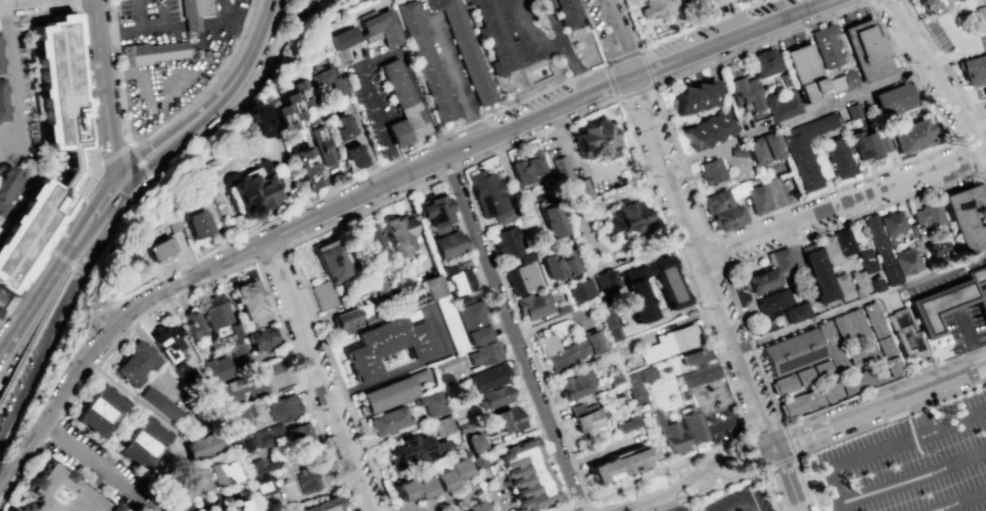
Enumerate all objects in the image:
building: (740, 0)
road: (866, 0)
building: (946, 0)
road: (4, 1)
road: (14, 1)
building: (303, 3)
road: (76, 4)
building: (708, 5)
building: (928, 6)
building: (661, 8)
road: (38, 12)
building: (194, 13)
building: (568, 14)
building: (979, 14)
road: (142, 16)
road: (876, 18)
road: (237, 20)
parking lot: (148, 21)
parking lot: (218, 28)
parking lot: (530, 28)
building: (365, 30)
road: (591, 32)
road: (139, 33)
road: (677, 34)
parking lot: (957, 34)
building: (494, 36)
road: (528, 38)
building: (828, 46)
building: (465, 48)
road: (563, 48)
road: (966, 49)
building: (866, 50)
building: (155, 52)
road: (379, 59)
building: (425, 60)
building: (764, 63)
road: (946, 63)
building: (972, 69)
road: (238, 73)
building: (805, 74)
road: (148, 75)
road: (935, 76)
road: (14, 78)
road: (457, 80)
building: (320, 81)
building: (842, 82)
road: (652, 84)
road: (104, 87)
parking lot: (164, 88)
building: (744, 92)
parking lot: (369, 95)
building: (695, 97)
building: (2, 100)
building: (891, 100)
road: (236, 101)
building: (282, 104)
building: (400, 104)
building: (784, 104)
parking lot: (981, 106)
building: (854, 111)
road: (796, 114)
road: (974, 118)
building: (254, 120)
building: (336, 129)
building: (707, 129)
road: (152, 134)
building: (911, 136)
building: (313, 140)
building: (593, 141)
building: (884, 143)
building: (773, 145)
building: (864, 145)
building: (47, 146)
road: (145, 147)
building: (806, 150)
building: (758, 151)
building: (739, 152)
road: (113, 154)
building: (348, 154)
road: (487, 154)
road: (964, 156)
building: (837, 158)
road: (140, 161)
road: (154, 161)
building: (561, 167)
building: (300, 169)
building: (525, 170)
building: (711, 172)
road: (91, 176)
building: (7, 181)
building: (247, 190)
road: (371, 190)
building: (579, 190)
road: (104, 194)
road: (325, 196)
building: (488, 196)
building: (758, 200)
building: (715, 202)
road: (840, 202)
building: (431, 210)
building: (927, 214)
building: (964, 214)
building: (728, 218)
building: (621, 219)
road: (111, 220)
building: (552, 221)
building: (196, 223)
road: (688, 223)
building: (891, 223)
building: (172, 225)
building: (911, 230)
road: (79, 231)
building: (398, 233)
road: (692, 240)
building: (843, 242)
building: (371, 243)
building: (444, 243)
building: (506, 243)
building: (158, 249)
building: (827, 249)
building: (880, 250)
road: (272, 251)
road: (718, 251)
building: (934, 252)
road: (78, 253)
building: (526, 255)
building: (327, 260)
building: (865, 260)
road: (71, 264)
building: (558, 265)
building: (907, 266)
building: (768, 273)
road: (216, 275)
road: (707, 275)
building: (818, 276)
building: (521, 278)
building: (604, 280)
building: (458, 281)
building: (858, 281)
building: (875, 284)
building: (979, 285)
building: (379, 286)
building: (841, 286)
building: (432, 287)
building: (580, 290)
building: (667, 290)
building: (323, 294)
building: (247, 300)
road: (861, 300)
building: (773, 301)
building: (532, 305)
building: (938, 305)
road: (34, 306)
building: (0, 307)
building: (561, 308)
building: (215, 312)
building: (796, 312)
road: (742, 316)
building: (373, 317)
building: (873, 319)
building: (348, 320)
building: (474, 322)
building: (450, 324)
building: (857, 325)
building: (192, 327)
building: (248, 327)
building: (236, 329)
road: (36, 330)
building: (843, 330)
road: (512, 333)
building: (903, 334)
building: (260, 339)
road: (970, 339)
building: (167, 342)
building: (667, 343)
building: (231, 346)
building: (830, 346)
building: (883, 346)
building: (384, 347)
road: (44, 348)
building: (568, 349)
road: (3, 352)
building: (790, 352)
building: (867, 352)
building: (484, 353)
building: (853, 357)
road: (160, 359)
building: (450, 364)
building: (133, 365)
building: (276, 365)
building: (891, 366)
road: (410, 367)
building: (216, 368)
building: (694, 368)
building: (821, 369)
building: (181, 371)
building: (876, 373)
road: (319, 376)
building: (802, 376)
building: (488, 377)
building: (445, 380)
parking lot: (19, 381)
building: (614, 381)
building: (853, 381)
building: (636, 383)
building: (783, 384)
building: (575, 385)
building: (234, 390)
building: (829, 391)
building: (391, 392)
building: (496, 396)
building: (811, 398)
building: (159, 403)
building: (431, 403)
building: (791, 405)
building: (282, 407)
road: (880, 408)
building: (98, 412)
building: (241, 412)
building: (460, 416)
building: (583, 420)
building: (386, 421)
building: (500, 421)
building: (626, 424)
building: (687, 425)
building: (440, 426)
building: (465, 426)
road: (862, 429)
road: (768, 431)
building: (668, 434)
building: (293, 437)
building: (475, 442)
building: (142, 443)
building: (263, 443)
road: (885, 445)
building: (201, 447)
building: (417, 450)
building: (244, 452)
road: (80, 455)
parking lot: (91, 461)
building: (478, 461)
parking lot: (913, 462)
road: (776, 463)
building: (261, 466)
park: (287, 466)
building: (616, 466)
road: (670, 468)
building: (454, 470)
building: (218, 474)
building: (524, 475)
road: (914, 476)
road: (690, 477)
building: (306, 478)
building: (90, 479)
road: (787, 479)
building: (440, 481)
road: (725, 482)
building: (183, 487)
building: (263, 488)
building: (419, 490)
building: (401, 491)
building: (55, 493)
road: (465, 493)
parking lot: (736, 499)
road: (960, 500)
road: (208, 501)
road: (579, 502)
road: (667, 503)
road: (746, 505)
building: (238, 506)
building: (322, 506)
building: (262, 507)
building: (471, 507)
parking lot: (679, 508)
road: (564, 509)
building: (227, 510)

